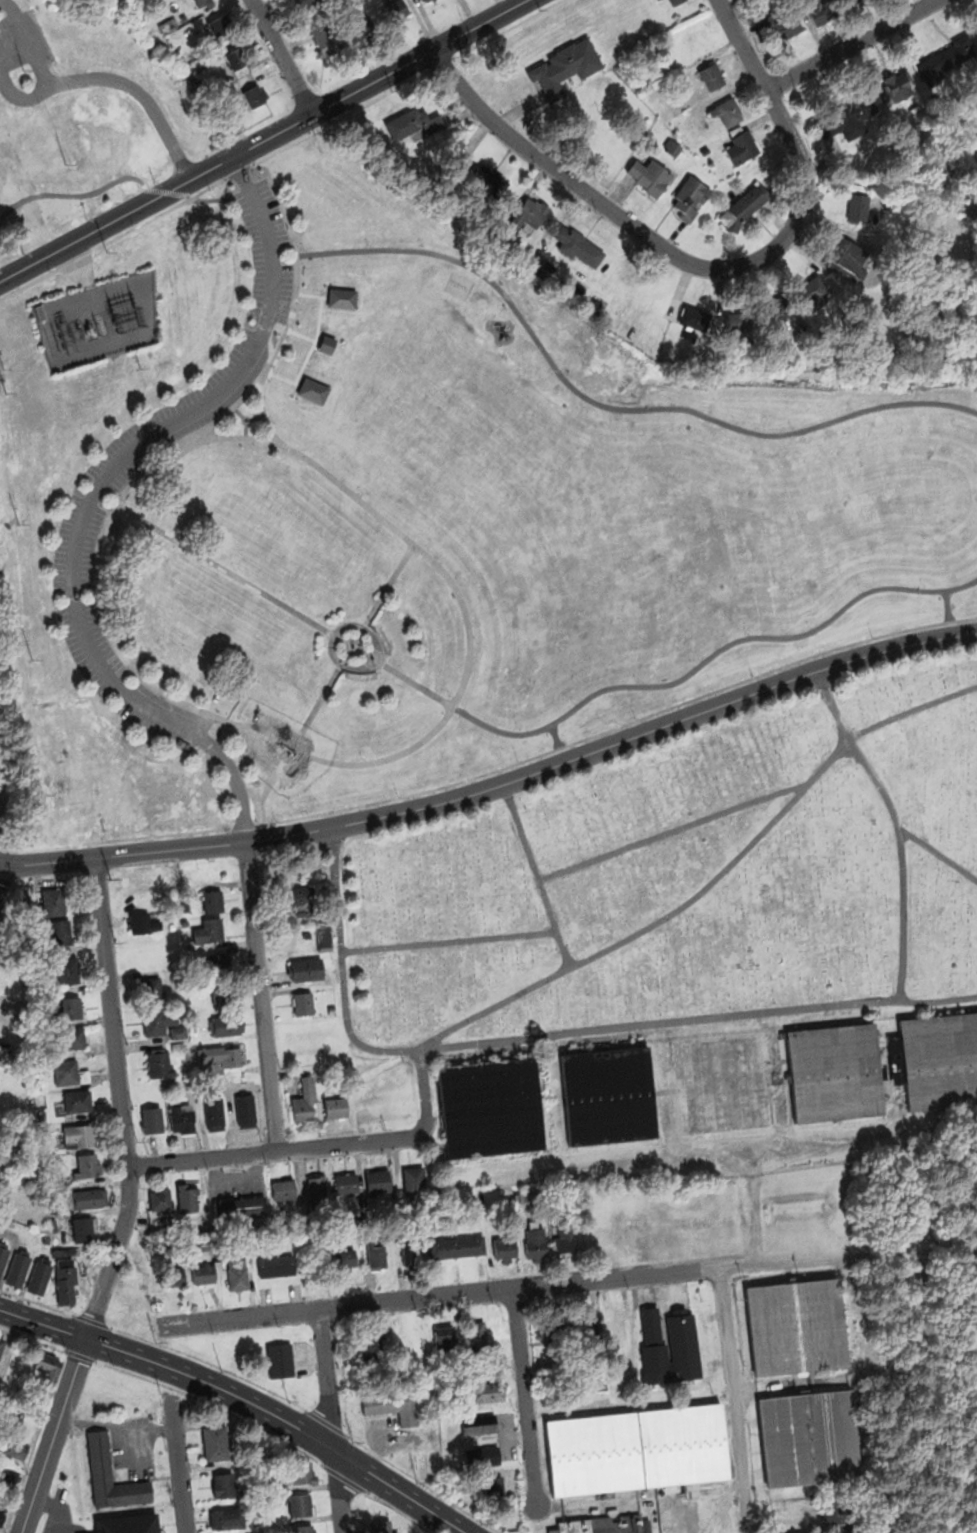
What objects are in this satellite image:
building: (203, 1)
building: (673, 1)
building: (859, 1)
building: (431, 2)
building: (825, 7)
building: (399, 10)
building: (183, 17)
building: (782, 21)
building: (220, 24)
building: (169, 25)
building: (366, 26)
building: (329, 37)
road: (852, 43)
building: (235, 57)
road: (283, 57)
building: (942, 64)
building: (564, 67)
road: (42, 70)
building: (711, 75)
building: (900, 86)
building: (255, 94)
road: (142, 95)
building: (726, 110)
power tower: (75, 111)
building: (846, 117)
park: (83, 118)
building: (413, 124)
road: (264, 141)
building: (671, 146)
building: (743, 146)
road: (241, 170)
building: (649, 174)
building: (485, 179)
road: (251, 189)
road: (168, 191)
road: (72, 194)
building: (690, 197)
road: (210, 199)
building: (742, 207)
building: (872, 209)
building: (529, 211)
power tower: (132, 242)
building: (576, 245)
building: (855, 261)
road: (706, 267)
building: (343, 297)
power tower: (159, 311)
building: (796, 314)
building: (715, 317)
power substation: (98, 319)
power tower: (136, 320)
building: (327, 343)
building: (314, 389)
road: (608, 406)
road: (264, 411)
road: (196, 424)
road: (121, 460)
park: (408, 512)
road: (389, 585)
road: (948, 605)
road: (963, 619)
road: (366, 628)
road: (223, 719)
road: (210, 727)
road: (609, 729)
road: (525, 733)
road: (555, 735)
road: (293, 745)
road: (238, 785)
road: (497, 786)
building: (1, 798)
road: (244, 825)
road: (671, 831)
road: (938, 852)
road: (2, 871)
park: (690, 873)
road: (536, 874)
road: (711, 882)
building: (301, 899)
building: (13, 900)
building: (53, 901)
building: (212, 901)
building: (183, 921)
building: (143, 923)
building: (171, 926)
building: (208, 930)
building: (60, 931)
building: (306, 934)
building: (324, 936)
road: (449, 940)
road: (343, 968)
building: (305, 969)
building: (67, 971)
building: (220, 974)
building: (151, 992)
road: (261, 996)
road: (938, 1000)
building: (302, 1004)
building: (330, 1009)
building: (70, 1010)
building: (12, 1011)
building: (157, 1021)
road: (645, 1022)
building: (225, 1026)
building: (178, 1033)
building: (69, 1038)
building: (178, 1047)
building: (3, 1048)
building: (218, 1058)
building: (935, 1061)
building: (159, 1063)
building: (1, 1065)
building: (68, 1072)
building: (833, 1073)
building: (722, 1082)
building: (188, 1083)
building: (609, 1095)
building: (305, 1101)
building: (77, 1102)
building: (334, 1106)
building: (489, 1107)
building: (246, 1109)
building: (214, 1114)
building: (41, 1115)
building: (151, 1118)
building: (182, 1118)
building: (80, 1136)
building: (86, 1166)
building: (413, 1180)
building: (375, 1181)
building: (345, 1183)
building: (284, 1188)
building: (317, 1194)
building: (187, 1197)
building: (90, 1198)
building: (161, 1198)
road: (130, 1203)
building: (240, 1207)
building: (390, 1208)
building: (378, 1209)
building: (343, 1212)
building: (52, 1222)
building: (86, 1227)
building: (46, 1238)
building: (565, 1238)
building: (535, 1240)
building: (411, 1247)
building: (457, 1247)
building: (503, 1247)
building: (62, 1251)
building: (202, 1252)
building: (376, 1252)
building: (3, 1254)
road: (848, 1254)
building: (343, 1257)
building: (276, 1265)
building: (17, 1267)
building: (207, 1271)
building: (238, 1273)
building: (40, 1275)
building: (172, 1277)
building: (65, 1280)
road: (438, 1296)
building: (585, 1325)
building: (795, 1325)
building: (617, 1326)
building: (553, 1330)
building: (476, 1336)
building: (445, 1339)
building: (371, 1341)
building: (2, 1342)
building: (671, 1347)
building: (280, 1359)
building: (487, 1365)
building: (45, 1367)
building: (375, 1377)
park: (973, 1388)
building: (486, 1391)
road: (525, 1395)
road: (243, 1399)
road: (735, 1399)
building: (395, 1405)
road: (333, 1421)
building: (478, 1423)
building: (809, 1437)
building: (216, 1441)
building: (684, 1444)
building: (12, 1446)
building: (482, 1451)
building: (594, 1453)
road: (178, 1463)
building: (302, 1472)
building: (111, 1474)
building: (8, 1478)
building: (224, 1483)
building: (493, 1483)
building: (300, 1504)
building: (3, 1513)
building: (228, 1517)
building: (617, 1523)
building: (381, 1525)
building: (574, 1525)
building: (848, 1525)
building: (654, 1526)
building: (304, 1529)
building: (553, 1530)
building: (795, 1531)

